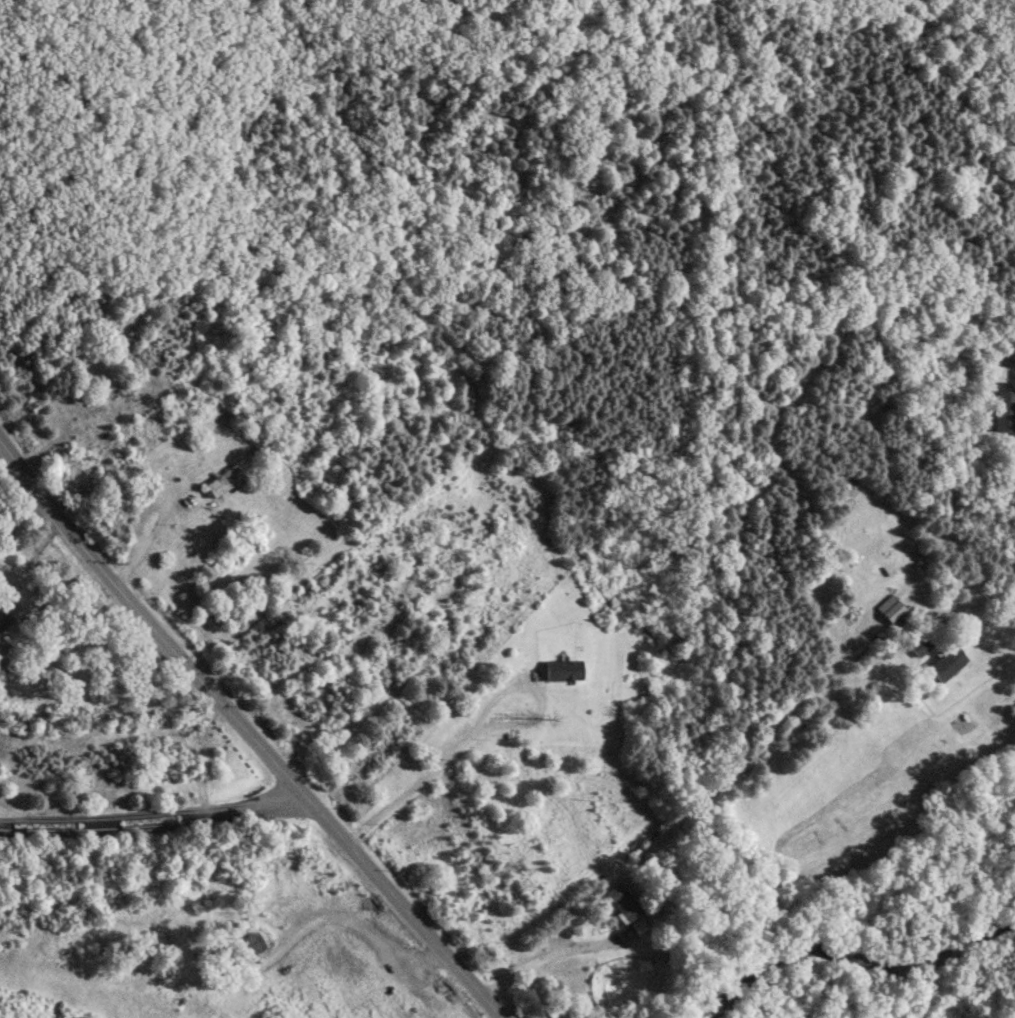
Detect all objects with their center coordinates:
building: (996, 372)
building: (1004, 410)
building: (222, 480)
road: (151, 535)
road: (995, 602)
building: (891, 611)
building: (4, 618)
road: (44, 618)
road: (146, 621)
building: (919, 645)
building: (945, 663)
building: (561, 669)
road: (479, 721)
road: (152, 820)
building: (621, 902)
road: (403, 904)
building: (673, 934)
road: (549, 952)

